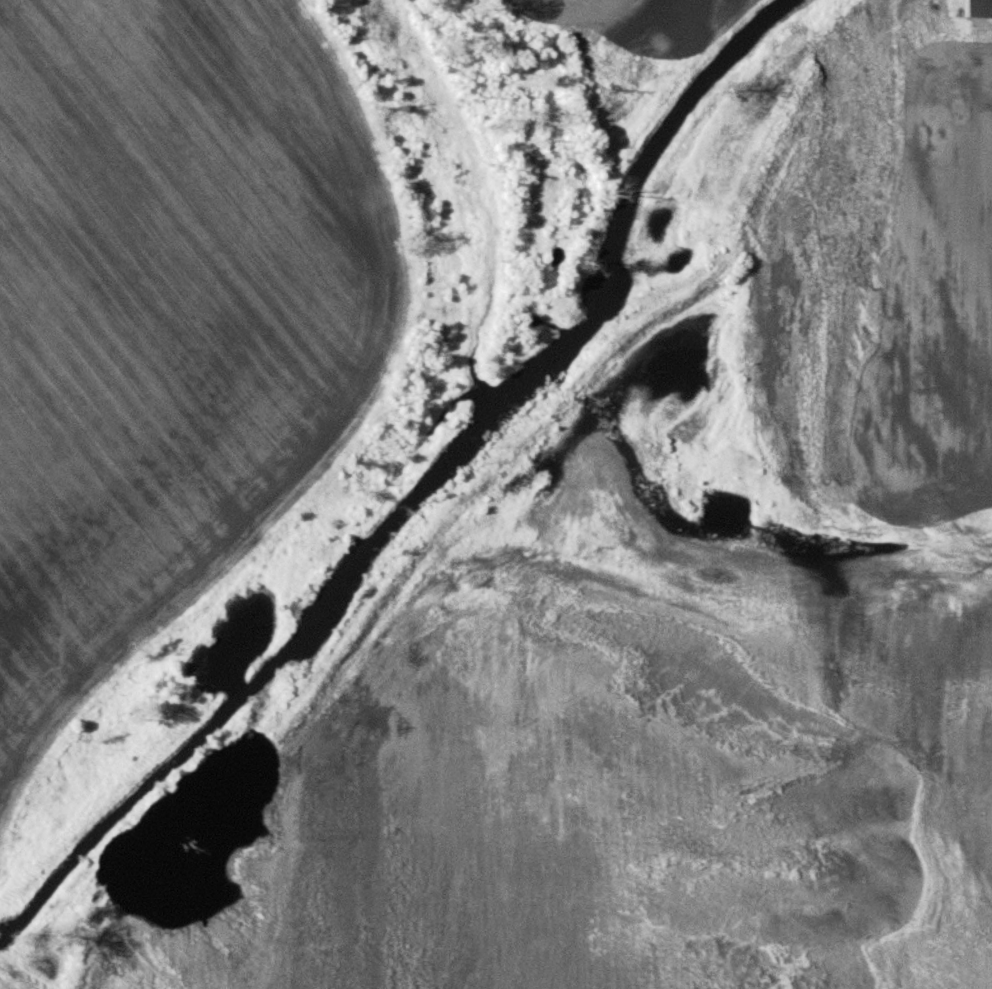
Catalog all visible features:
building: (977, 9)

